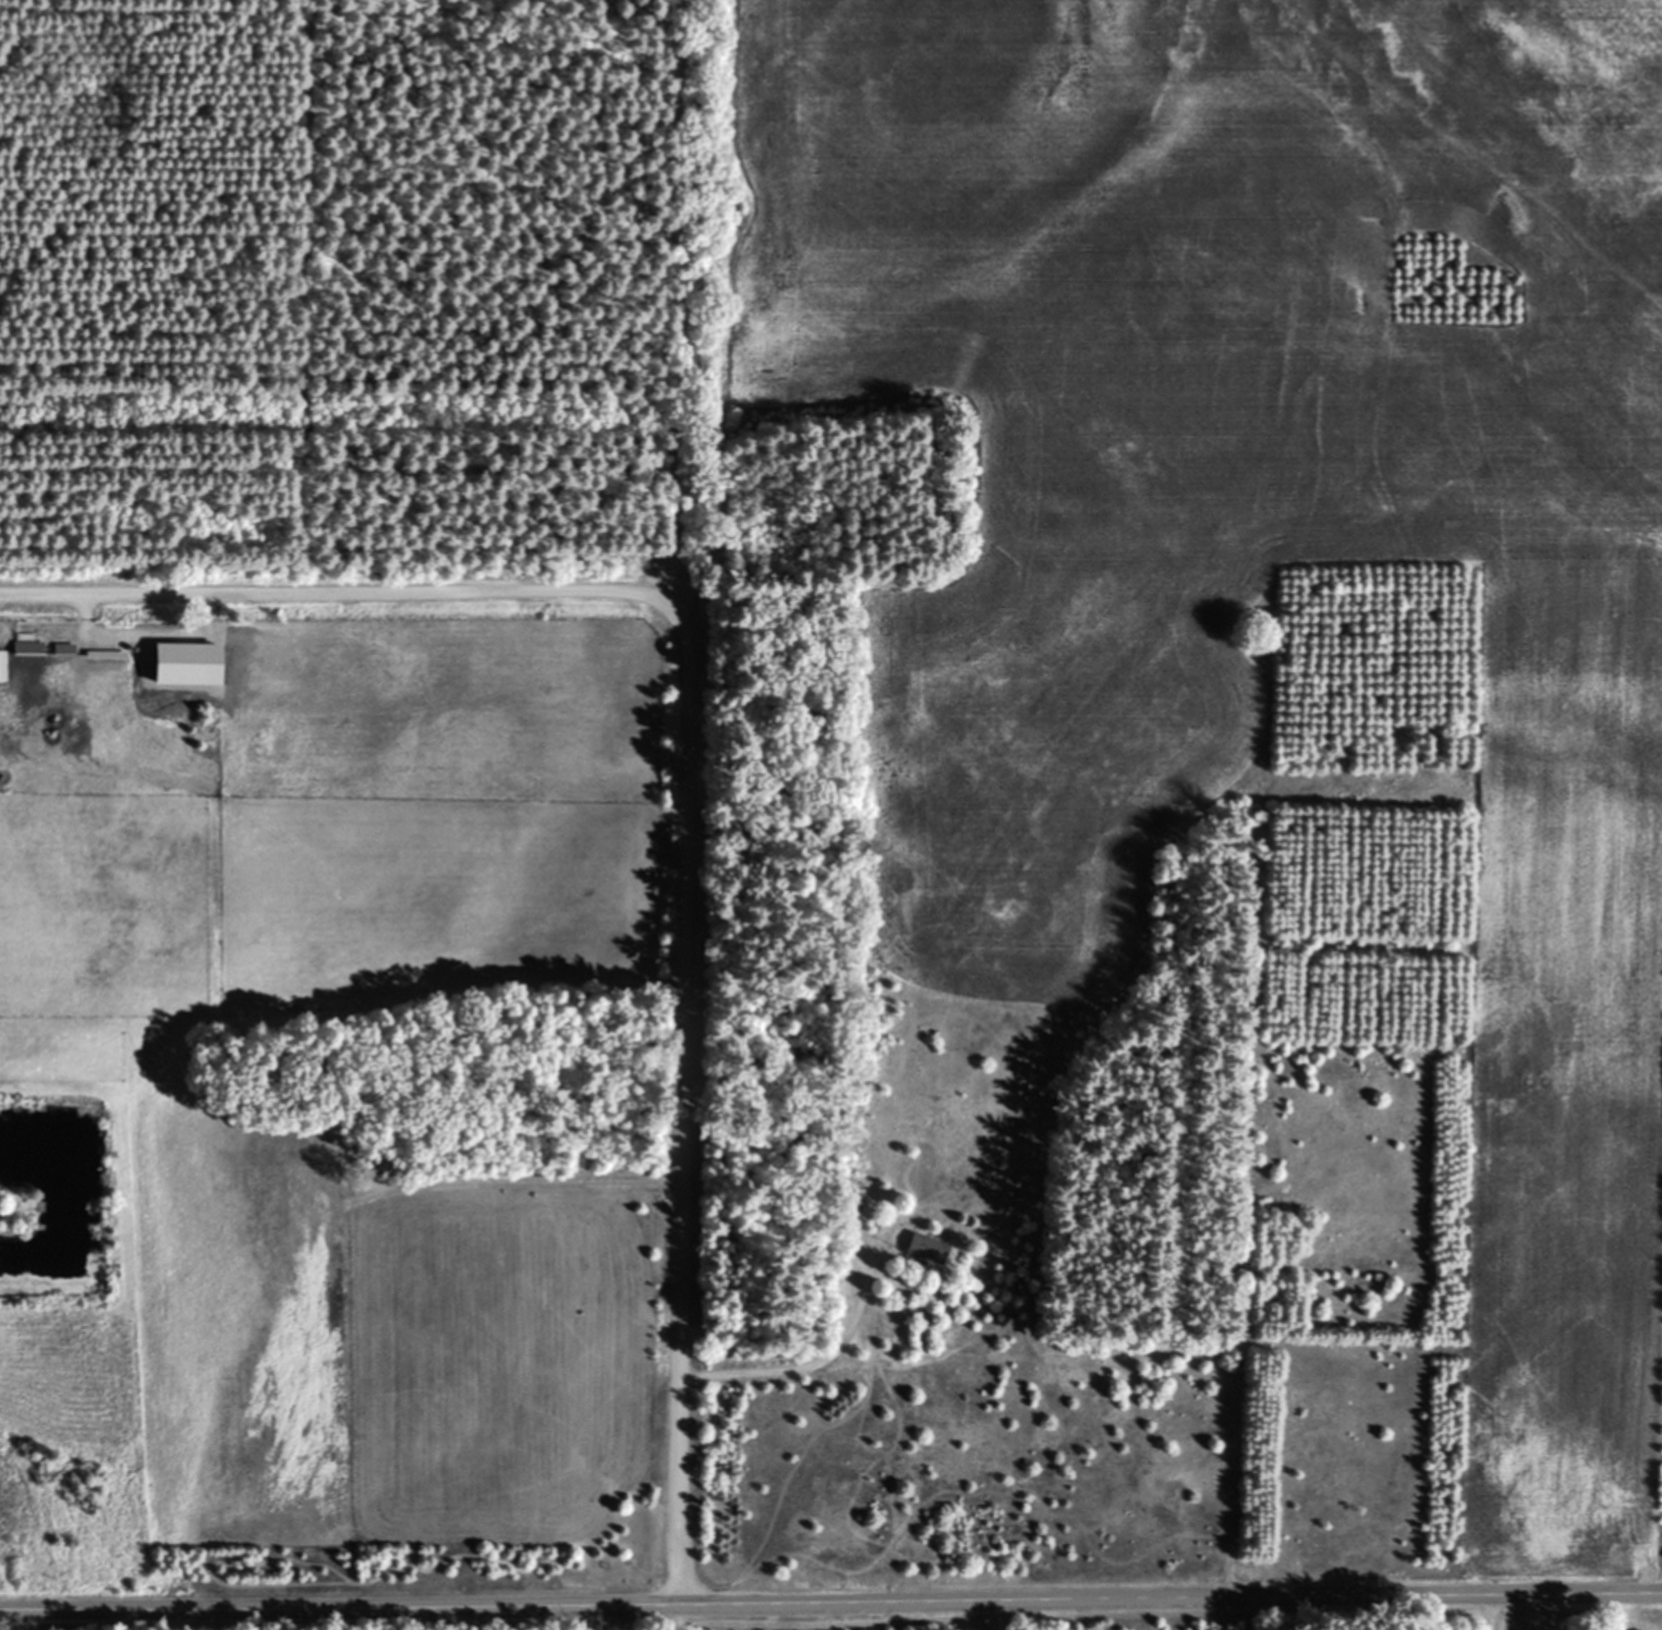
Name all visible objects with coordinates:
road: (336, 595)
building: (29, 648)
building: (65, 649)
building: (3, 665)
road: (700, 1103)
road: (254, 1108)
building: (929, 1249)
road: (811, 1359)
road: (830, 1614)

